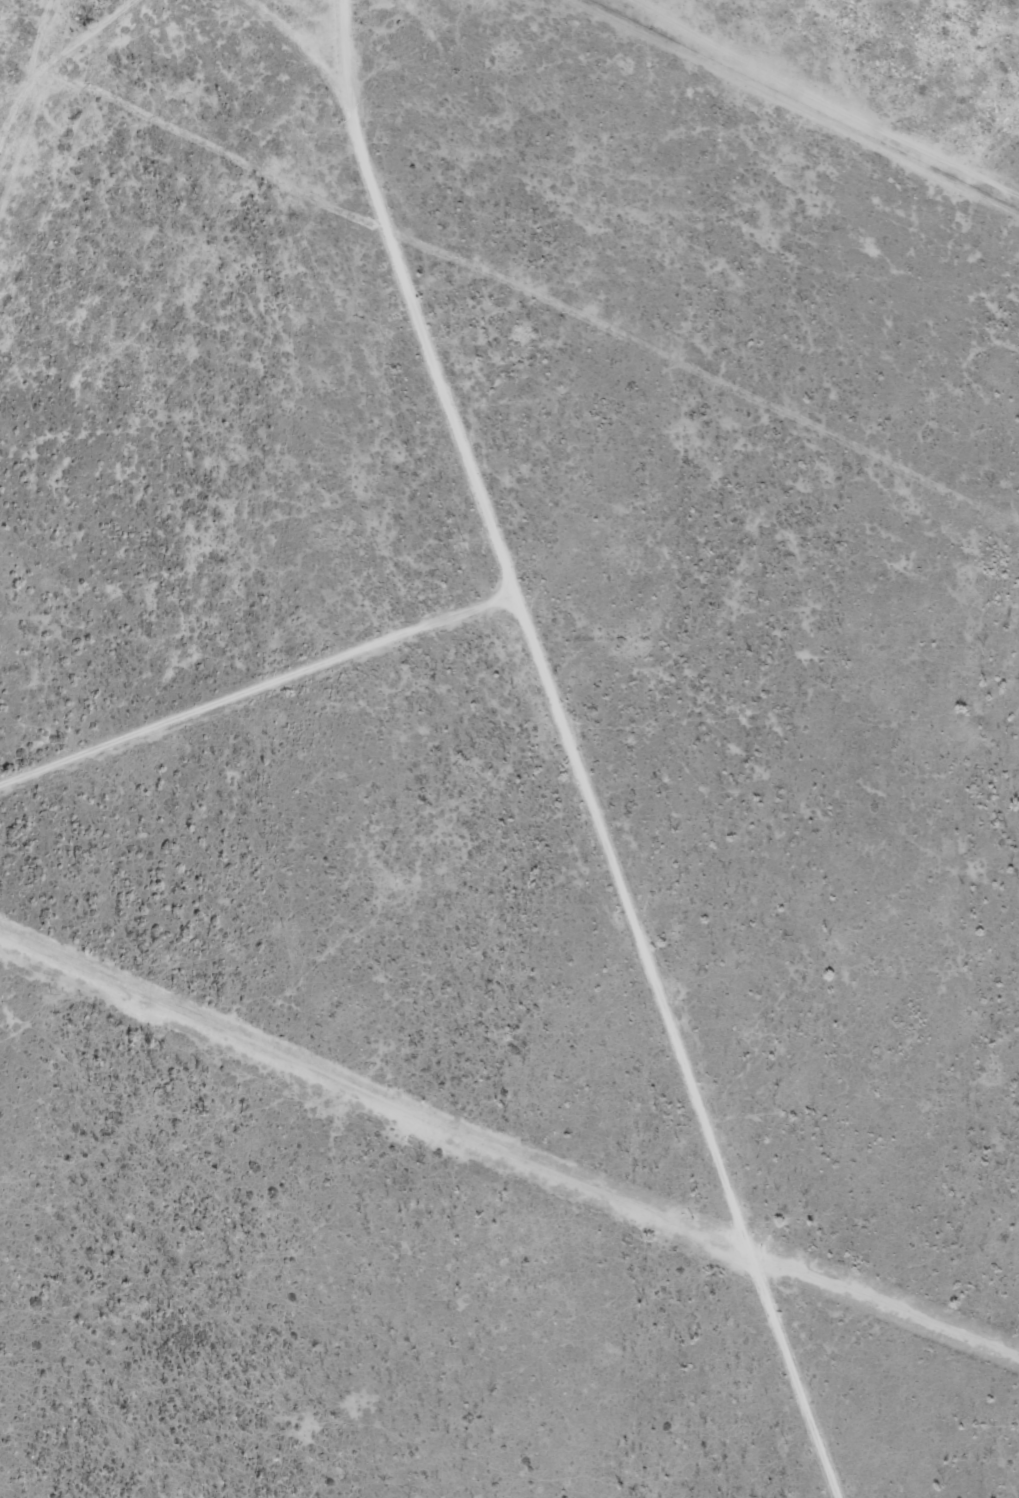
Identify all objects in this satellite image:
road: (91, 183)
road: (558, 720)

